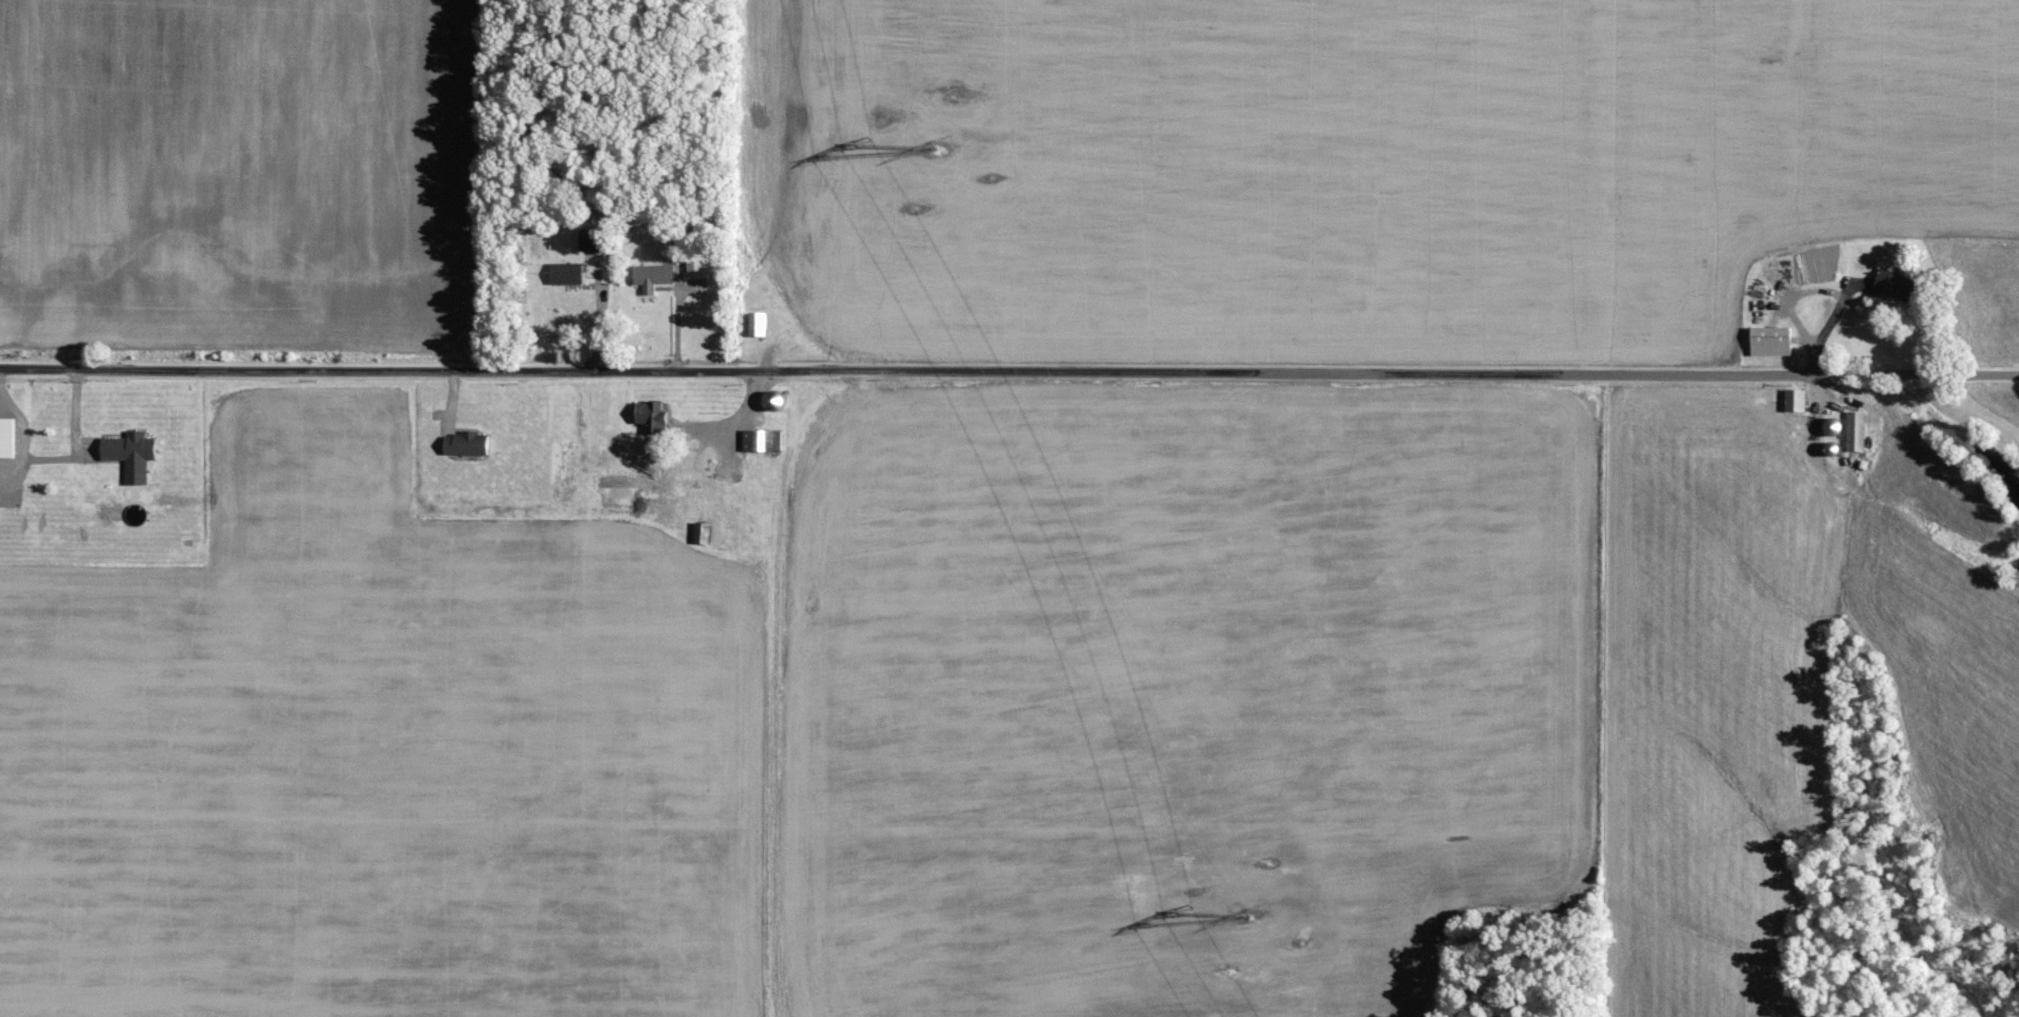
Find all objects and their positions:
power tower: (943, 151)
building: (593, 240)
building: (696, 268)
building: (567, 274)
building: (653, 277)
building: (1897, 287)
building: (759, 325)
building: (1773, 342)
road: (1009, 372)
building: (1797, 401)
building: (648, 413)
road: (727, 426)
building: (1857, 432)
building: (6, 439)
building: (763, 441)
building: (469, 445)
building: (132, 455)
power tower: (1243, 915)

